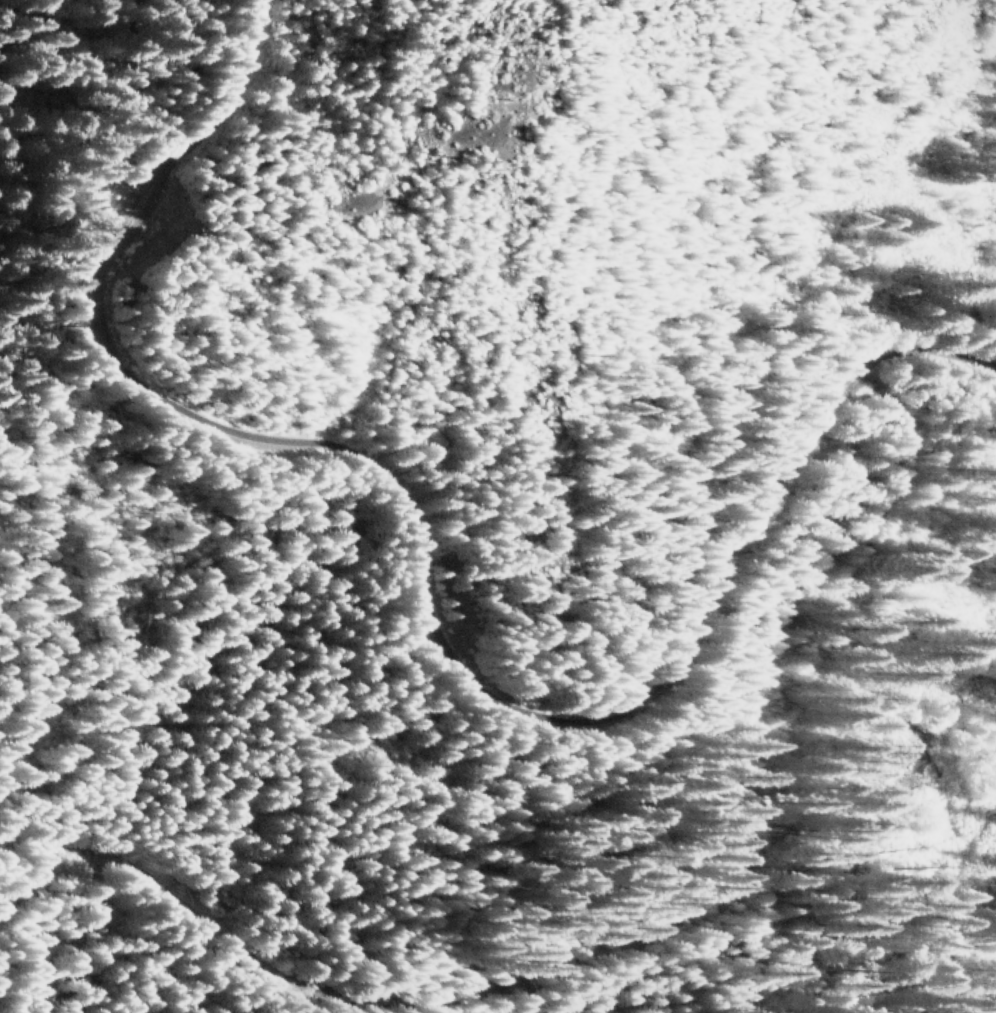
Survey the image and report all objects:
road: (431, 583)

